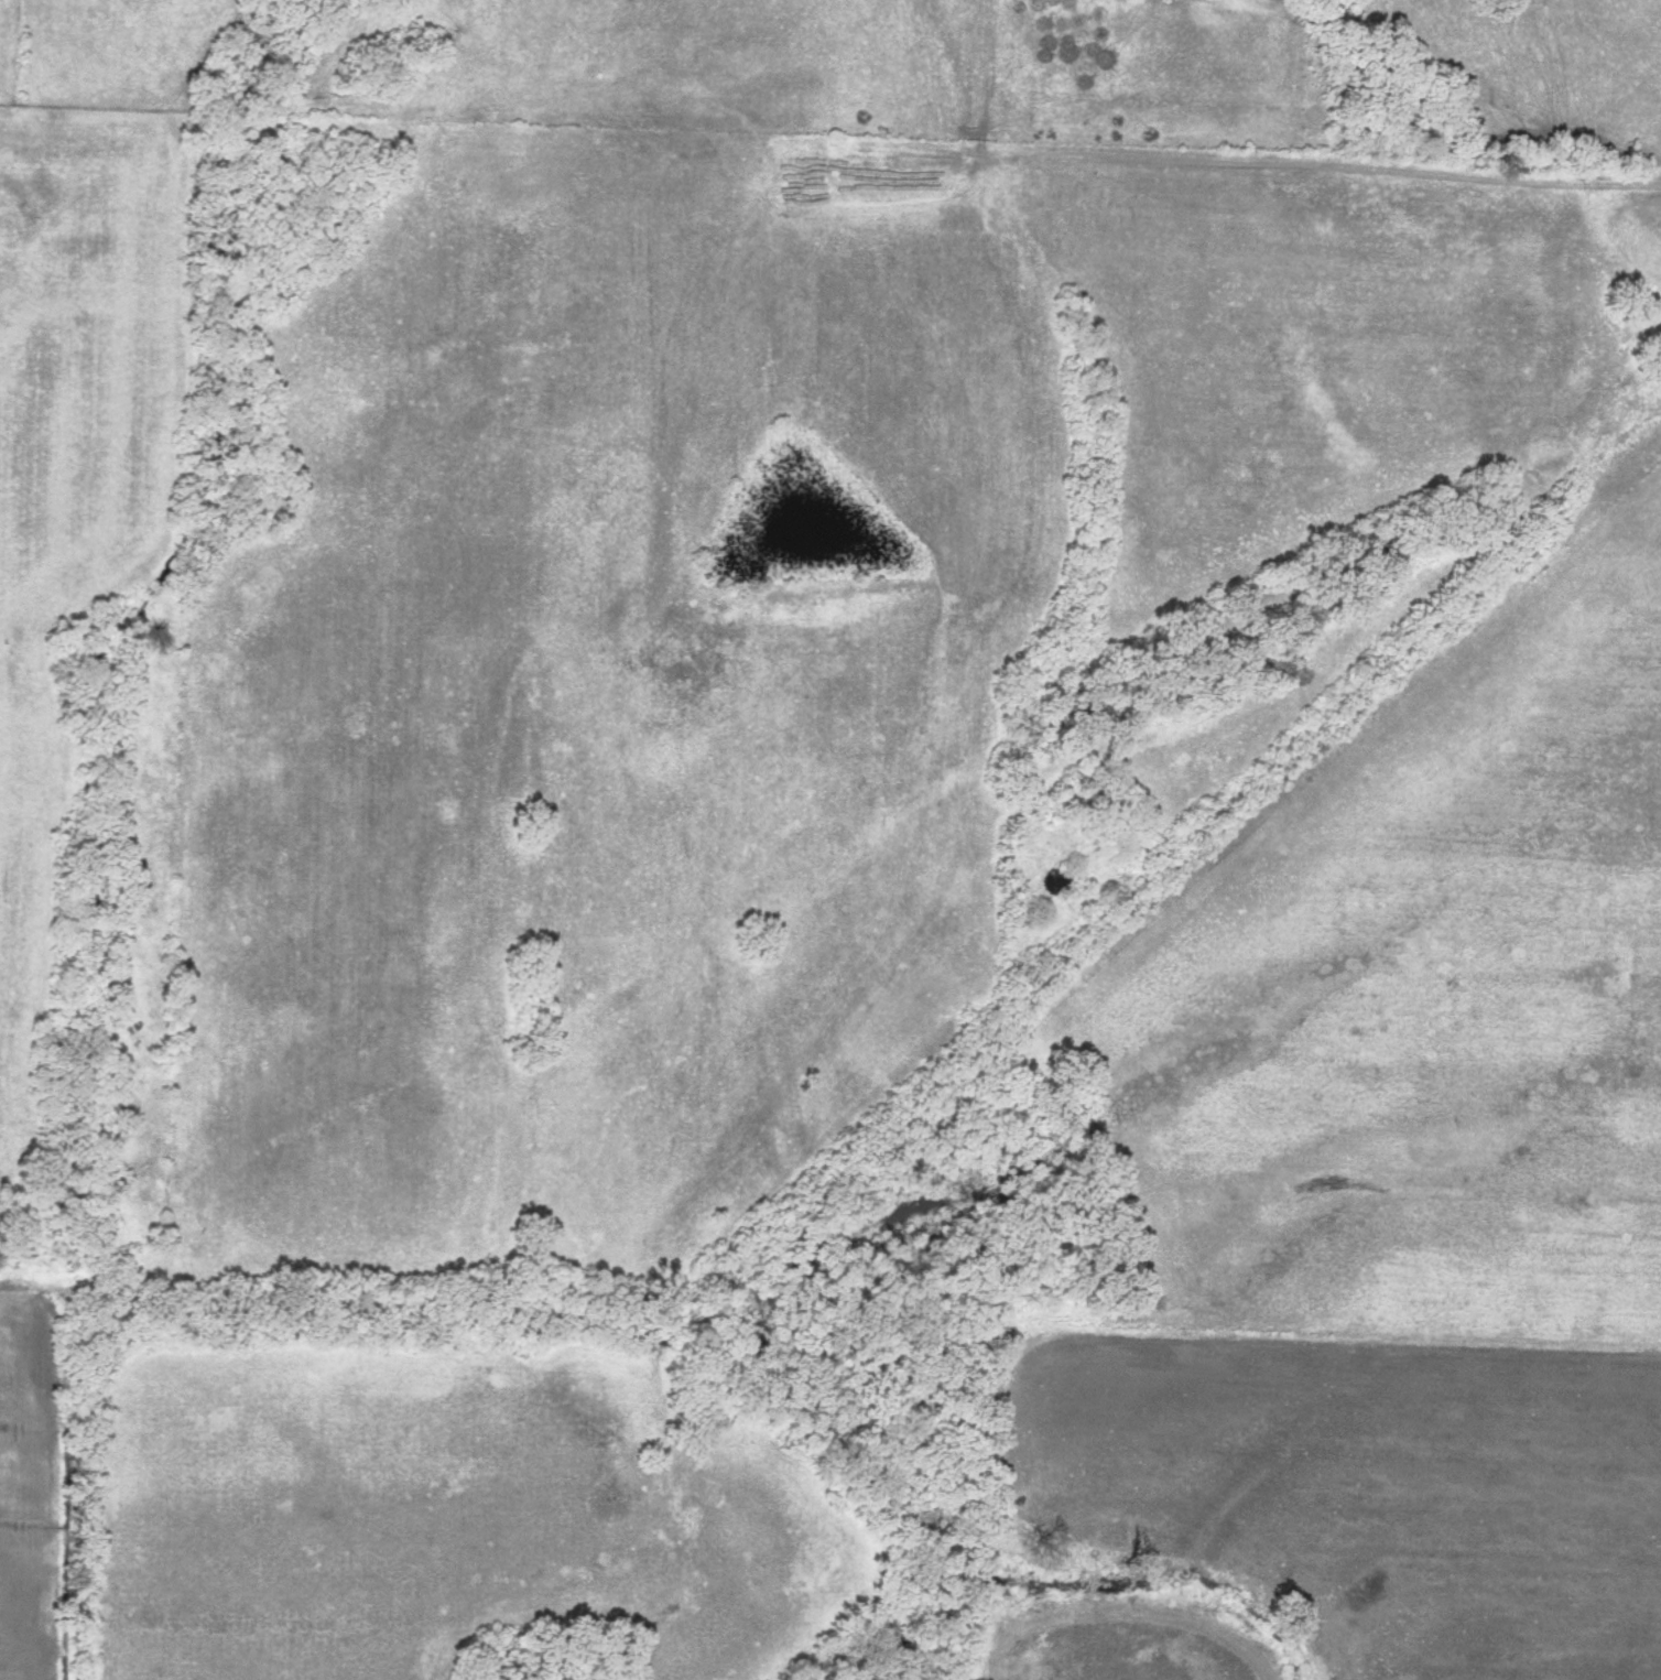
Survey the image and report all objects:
crop: (29, 1481)
crop: (1363, 1487)

